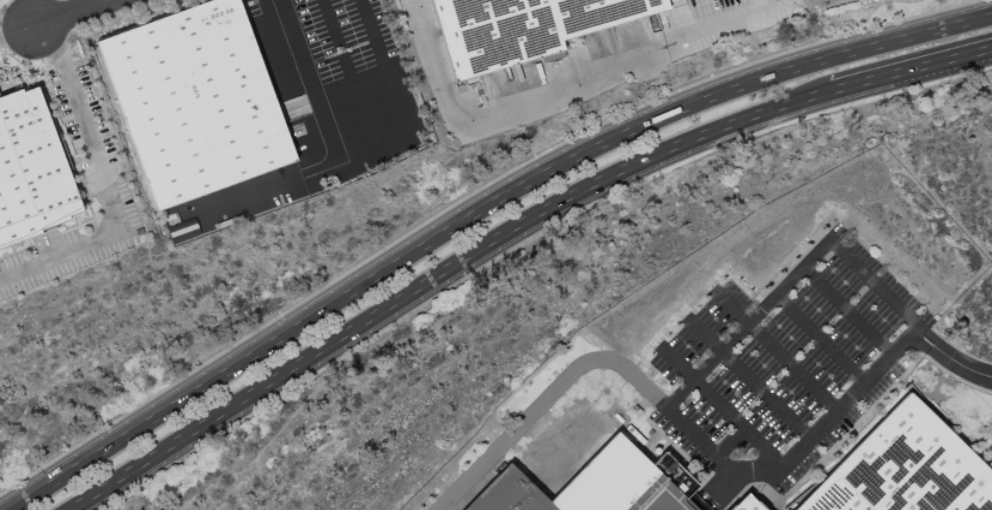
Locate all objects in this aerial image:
road: (115, 1)
building: (862, 1)
road: (84, 14)
building: (523, 28)
road: (35, 31)
road: (346, 71)
road: (560, 88)
building: (195, 103)
road: (355, 147)
building: (31, 171)
road: (263, 184)
road: (109, 189)
road: (477, 212)
road: (509, 230)
road: (846, 314)
road: (819, 340)
road: (778, 354)
road: (950, 360)
road: (751, 383)
road: (547, 399)
road: (673, 400)
road: (722, 410)
road: (728, 443)
building: (905, 468)
building: (597, 485)
building: (746, 503)

